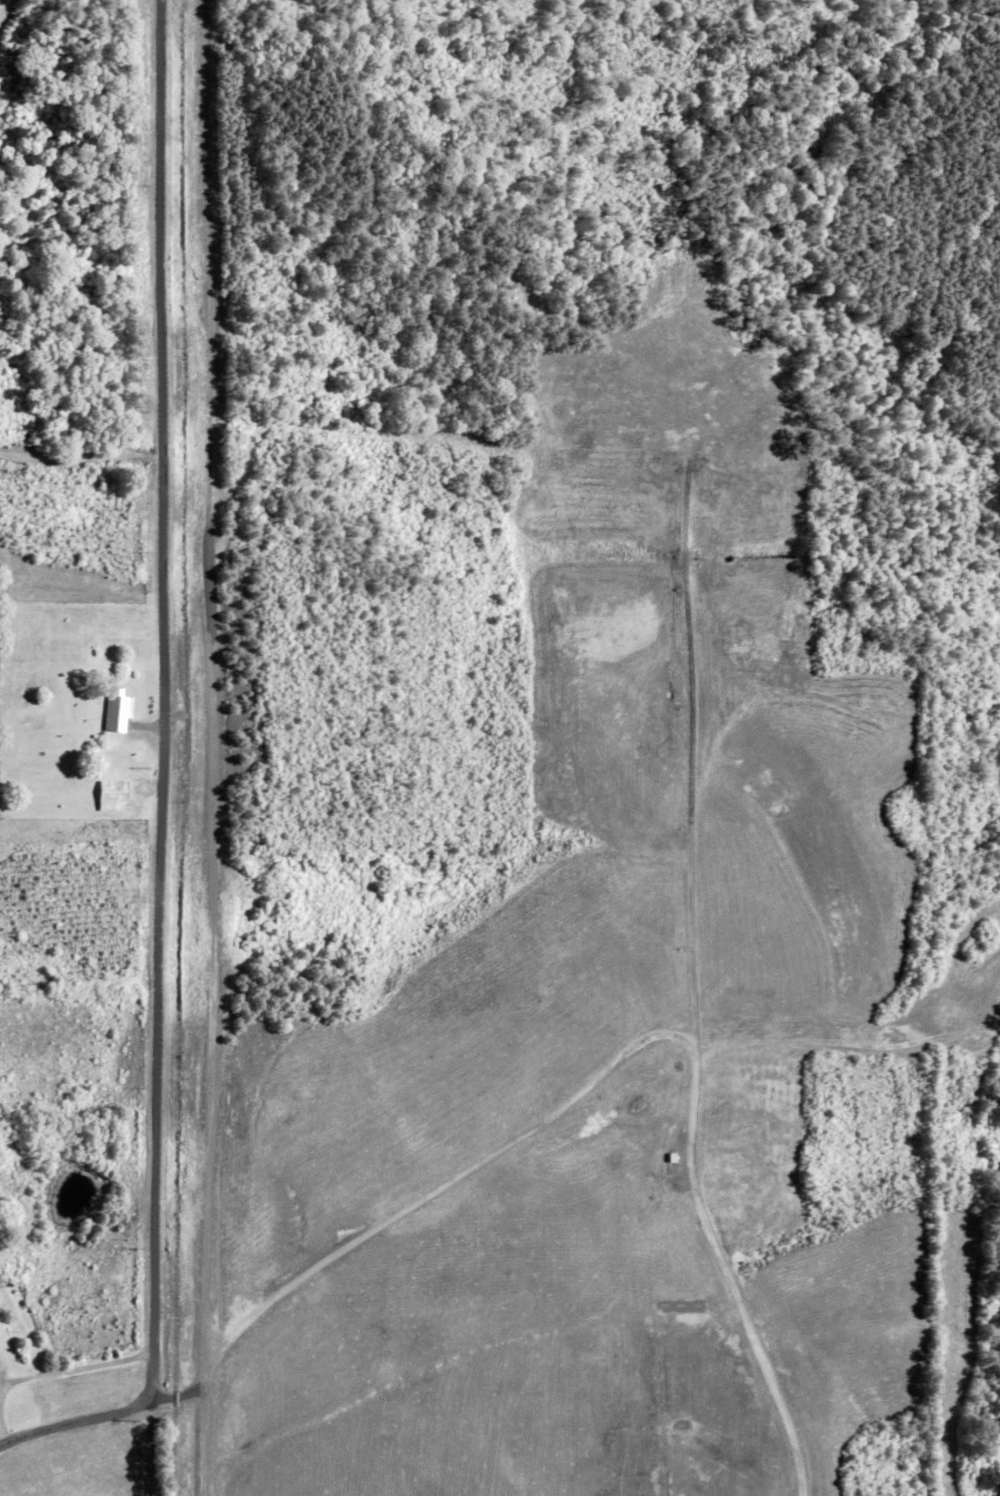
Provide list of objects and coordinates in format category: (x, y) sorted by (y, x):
building: (116, 710)
road: (159, 778)
building: (112, 795)
road: (51, 1372)

